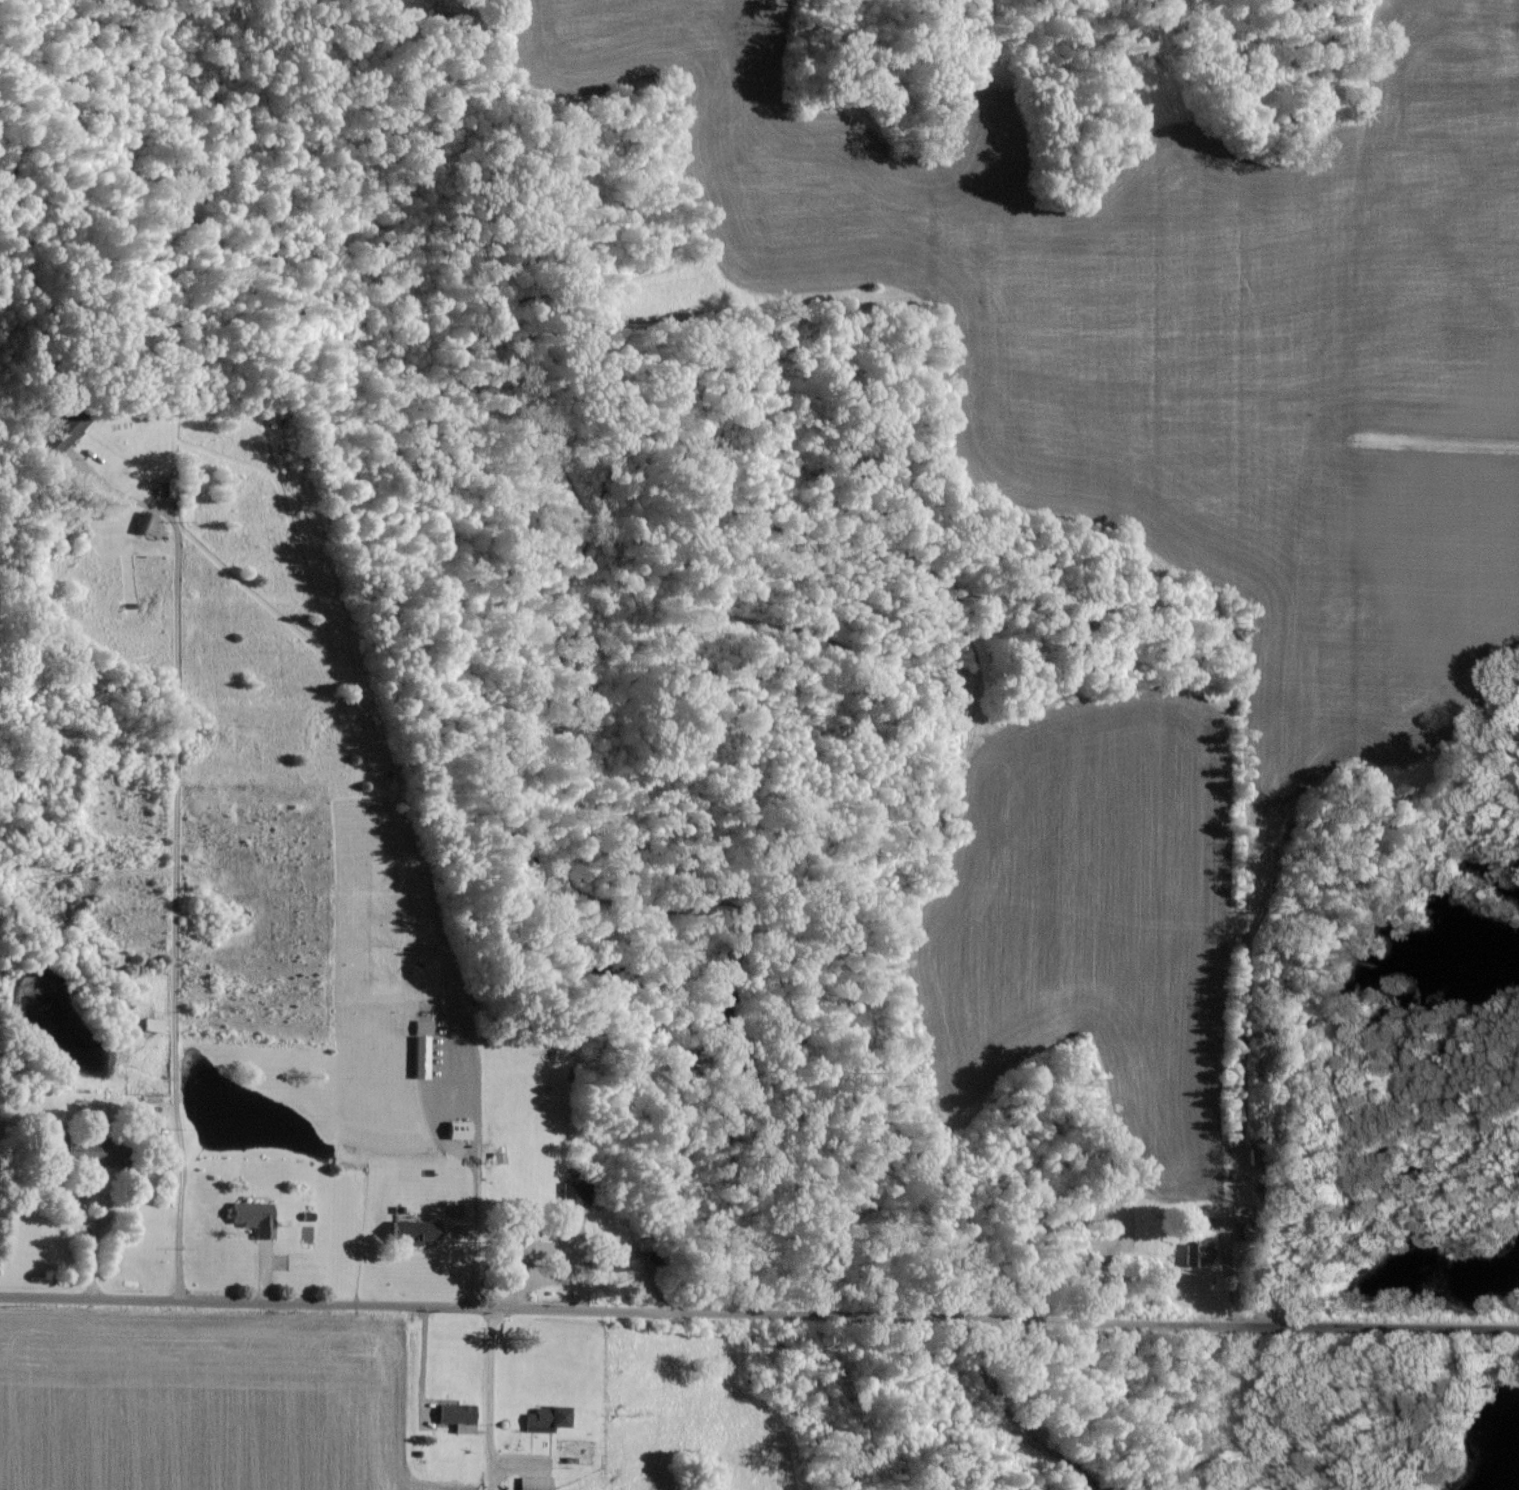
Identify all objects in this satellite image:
building: (58, 433)
road: (172, 845)
building: (416, 1054)
building: (85, 1149)
road: (479, 1188)
road: (83, 1192)
building: (248, 1215)
building: (409, 1230)
building: (520, 1245)
building: (1193, 1251)
road: (94, 1258)
road: (759, 1322)
road: (488, 1409)
building: (453, 1415)
building: (545, 1417)
building: (530, 1482)

